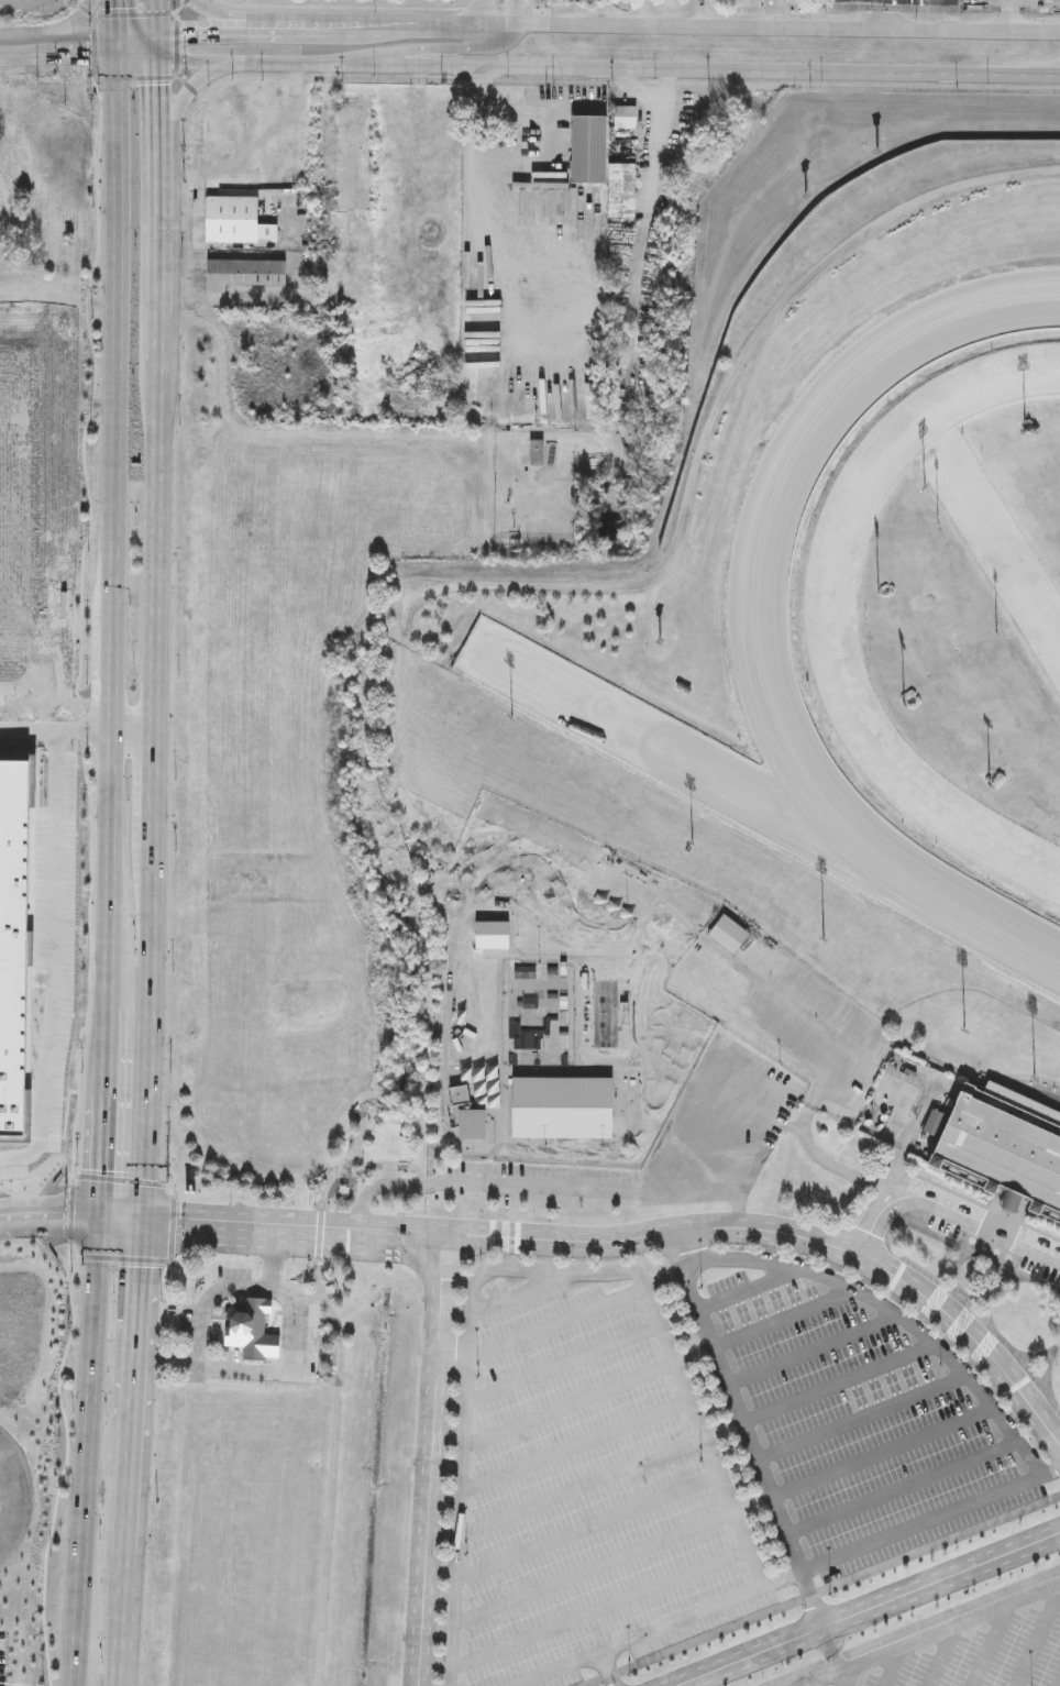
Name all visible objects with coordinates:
road: (476, 12)
road: (520, 12)
building: (672, 12)
road: (136, 14)
road: (877, 14)
road: (158, 15)
road: (327, 16)
road: (115, 23)
road: (608, 25)
road: (57, 32)
traffic signals: (158, 32)
road: (137, 38)
road: (178, 44)
traffic signals: (117, 46)
road: (158, 46)
road: (96, 48)
road: (58, 49)
road: (444, 49)
road: (137, 53)
traffic signals: (159, 60)
road: (609, 69)
road: (137, 79)
road: (190, 92)
road: (159, 102)
building: (627, 119)
building: (604, 167)
building: (356, 169)
road: (485, 194)
road: (159, 198)
building: (238, 222)
building: (246, 274)
road: (161, 305)
building: (369, 311)
building: (379, 333)
building: (537, 453)
road: (117, 527)
track: (887, 627)
road: (81, 628)
road: (57, 728)
road: (155, 791)
building: (12, 936)
building: (731, 936)
road: (57, 960)
building: (539, 974)
road: (971, 990)
road: (1050, 1022)
park: (544, 1070)
road: (973, 1077)
building: (479, 1105)
road: (810, 1108)
building: (552, 1111)
road: (109, 1112)
parking lot: (718, 1128)
building: (1002, 1147)
road: (826, 1160)
road: (344, 1164)
road: (74, 1175)
road: (121, 1180)
road: (386, 1187)
road: (543, 1187)
road: (706, 1192)
road: (968, 1199)
road: (71, 1211)
road: (51, 1214)
road: (948, 1214)
traffic signals: (102, 1216)
traffic signals: (143, 1223)
road: (231, 1226)
road: (750, 1227)
road: (320, 1234)
road: (887, 1238)
road: (738, 1247)
road: (771, 1250)
road: (70, 1256)
road: (804, 1257)
road: (273, 1260)
road: (159, 1261)
road: (836, 1269)
road: (520, 1270)
parking lot: (1040, 1271)
road: (663, 1279)
parking lot: (728, 1282)
road: (866, 1282)
parking lot: (497, 1289)
road: (748, 1290)
road: (525, 1292)
road: (308, 1298)
road: (209, 1299)
road: (896, 1299)
road: (935, 1302)
parking lot: (765, 1305)
parking lot: (535, 1311)
road: (276, 1315)
road: (923, 1318)
road: (899, 1319)
road: (783, 1320)
road: (555, 1324)
road: (960, 1325)
building: (253, 1331)
parking lot: (799, 1334)
road: (949, 1341)
road: (984, 1348)
road: (813, 1351)
road: (694, 1356)
road: (167, 1360)
road: (562, 1364)
road: (972, 1364)
parking lot: (827, 1367)
road: (291, 1375)
road: (839, 1384)
road: (134, 1388)
road: (994, 1390)
parking lot: (848, 1401)
road: (568, 1407)
road: (861, 1418)
road: (1014, 1418)
road: (742, 1423)
road: (722, 1431)
parking lot: (872, 1435)
road: (1035, 1443)
road: (573, 1446)
road: (89, 1451)
road: (882, 1453)
road: (430, 1461)
road: (333, 1469)
road: (1052, 1469)
road: (65, 1470)
parking lot: (892, 1470)
parking lot: (585, 1484)
road: (579, 1487)
road: (903, 1488)
road: (22, 1498)
parking lot: (913, 1505)
road: (752, 1506)
road: (924, 1522)
road: (586, 1528)
parking lot: (935, 1533)
road: (939, 1545)
road: (593, 1569)
road: (782, 1579)
road: (810, 1597)
road: (869, 1609)
road: (598, 1610)
road: (952, 1612)
road: (121, 1619)
road: (711, 1635)
road: (931, 1635)
road: (640, 1637)
road: (1038, 1638)
road: (991, 1645)
parking lot: (967, 1648)
parking lot: (1012, 1649)
road: (835, 1656)
road: (942, 1656)
parking lot: (1048, 1659)
road: (836, 1660)
parking lot: (963, 1660)
road: (893, 1666)
road: (608, 1670)
parking lot: (914, 1670)
road: (798, 1674)
road: (610, 1675)
parking lot: (871, 1681)
road: (594, 1683)

